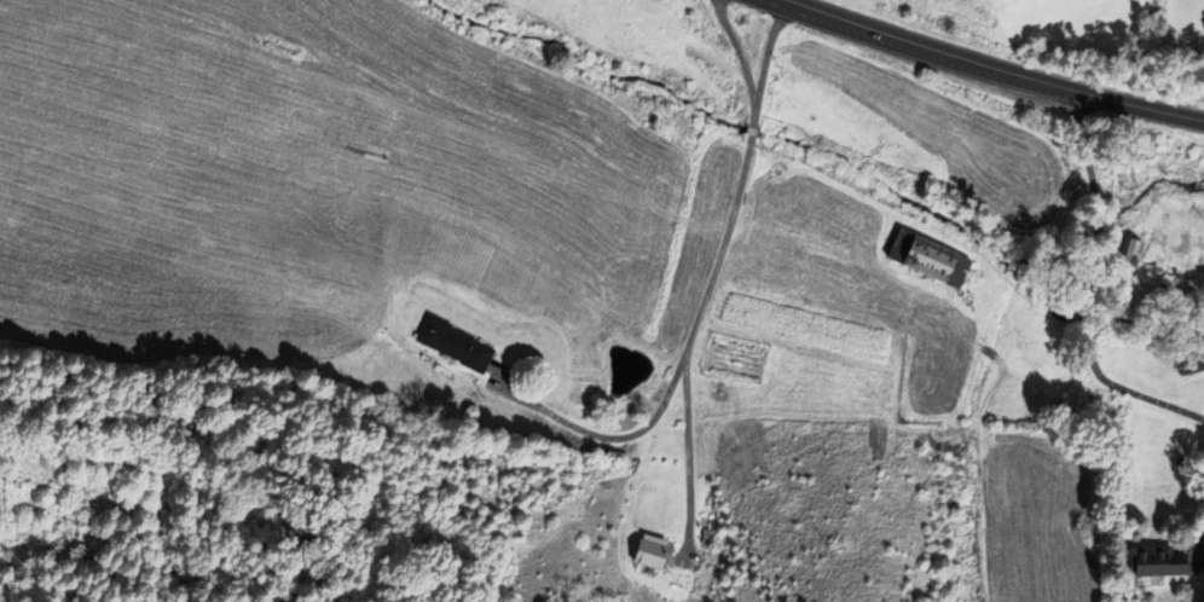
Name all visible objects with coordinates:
road: (995, 66)
building: (1125, 259)
building: (926, 260)
building: (452, 345)
building: (1189, 365)
building: (1156, 562)

